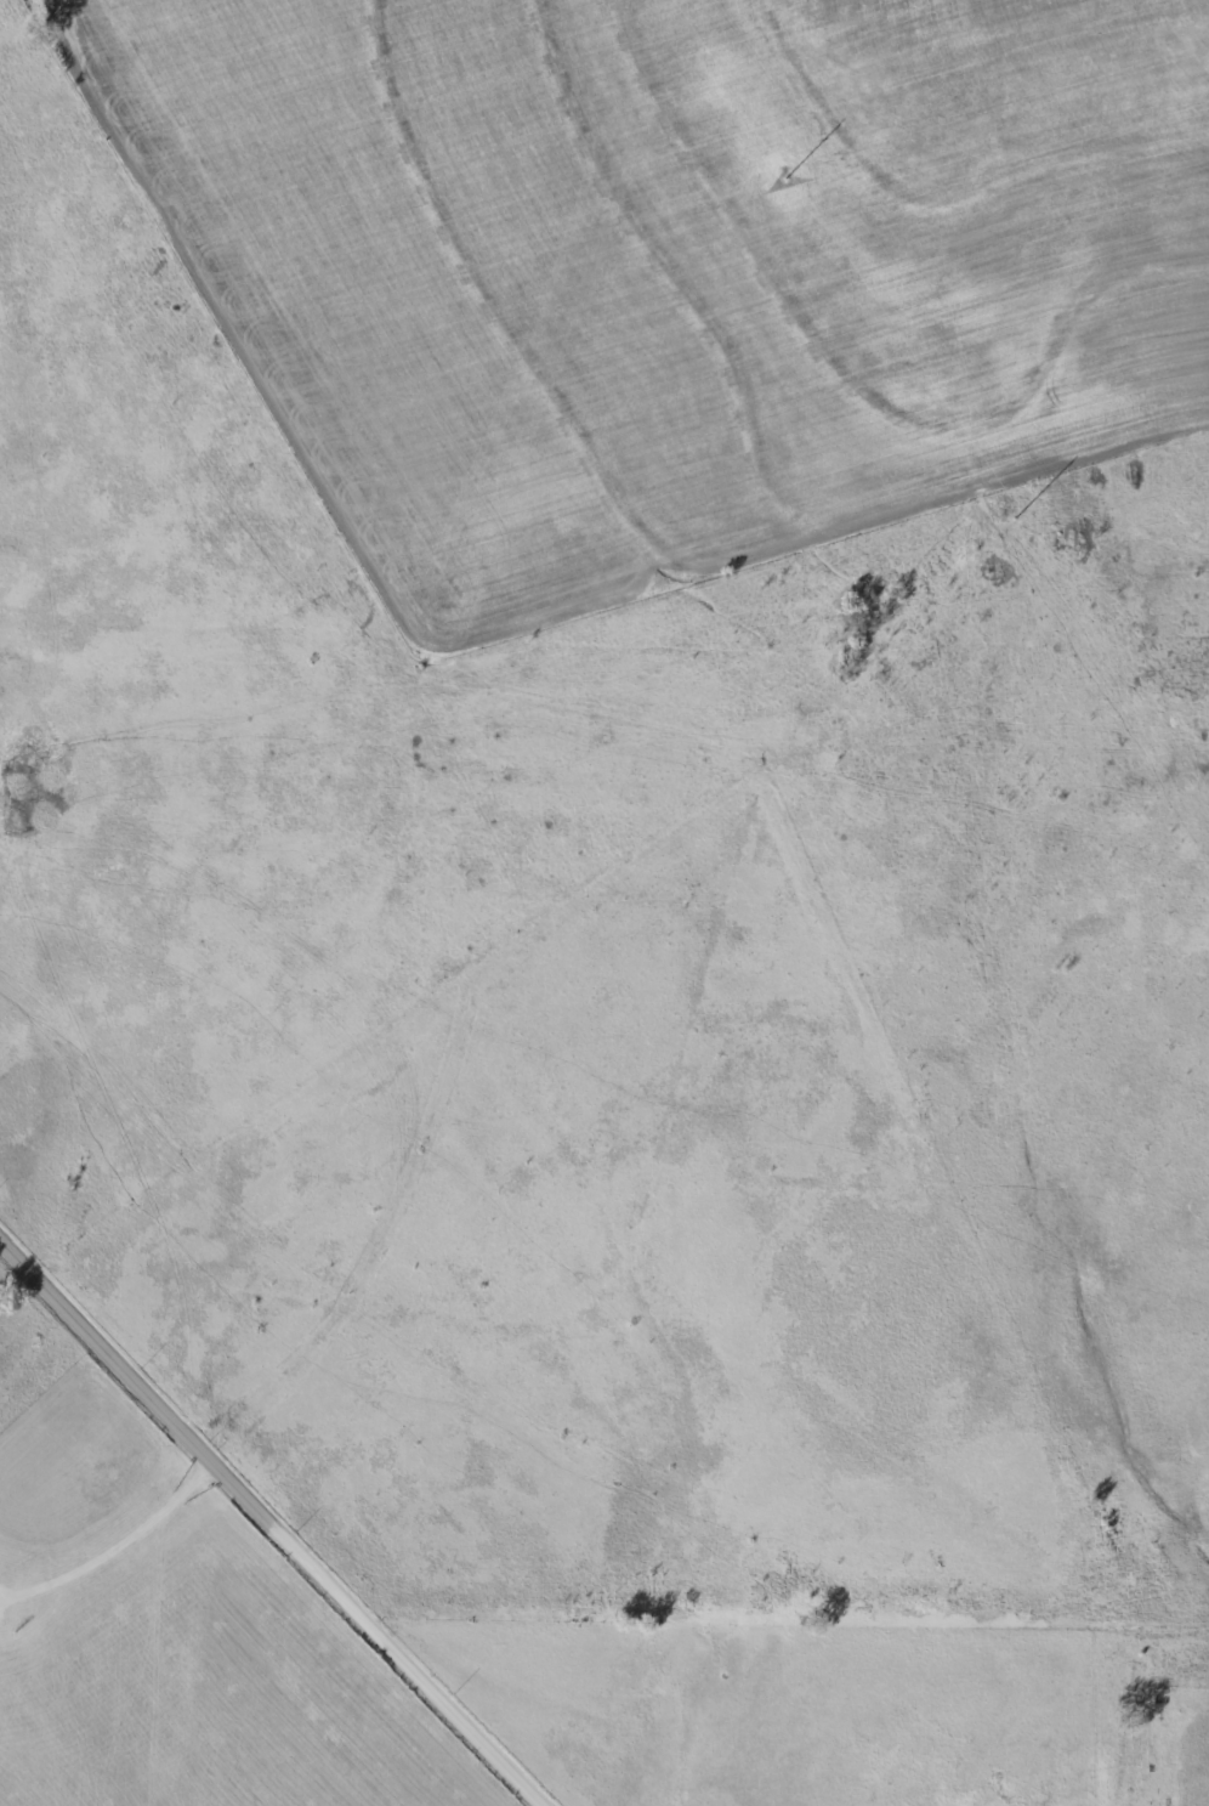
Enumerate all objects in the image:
road: (276, 1521)
road: (118, 1545)

